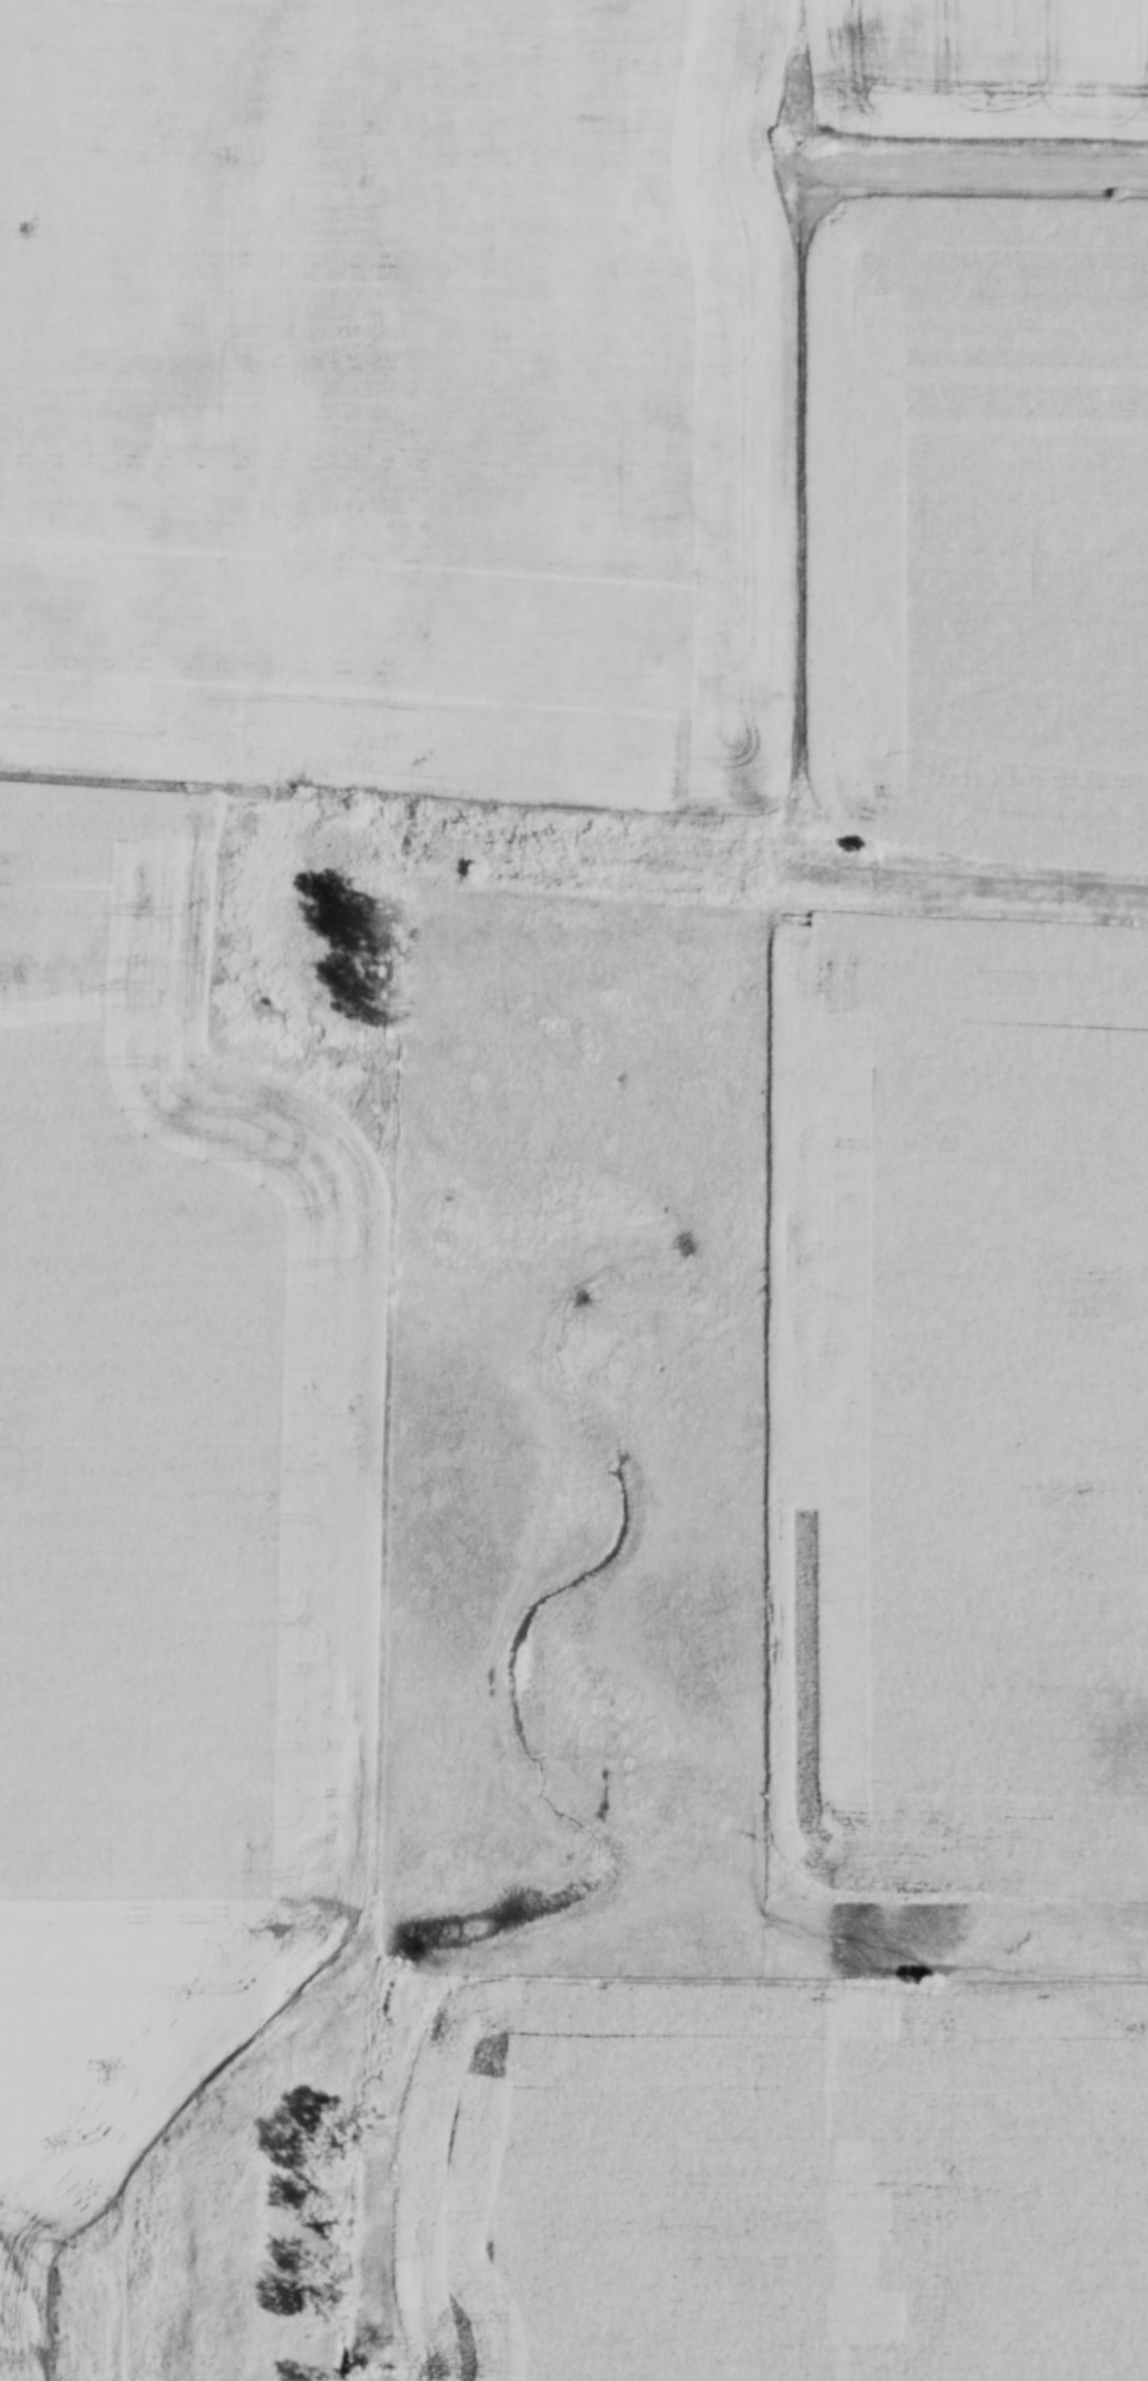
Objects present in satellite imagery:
road: (790, 93)
road: (969, 185)

